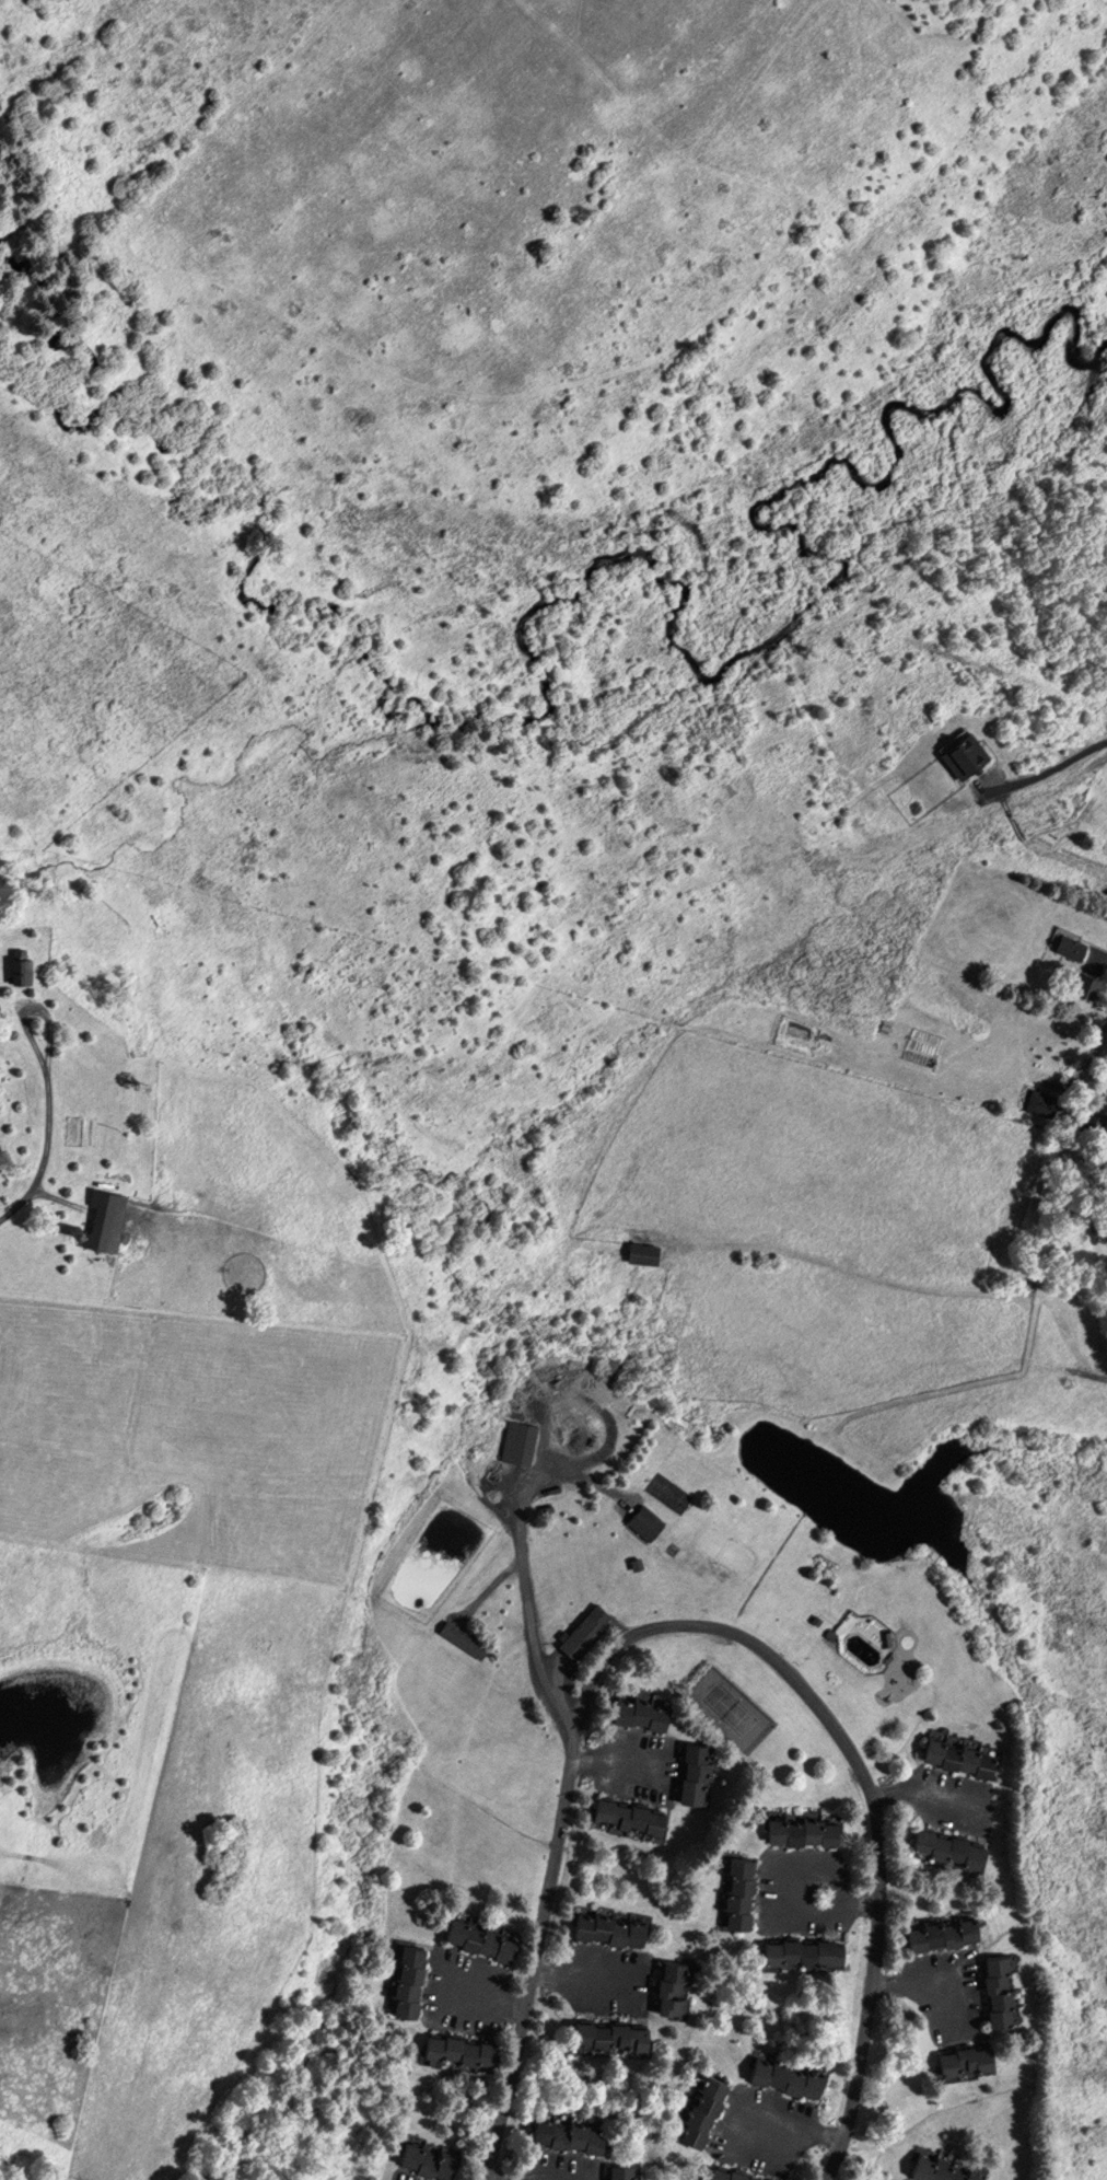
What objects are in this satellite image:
building: (1102, 880)
building: (18, 966)
building: (1081, 986)
road: (1084, 1062)
building: (1039, 1103)
road: (47, 1135)
building: (103, 1222)
building: (639, 1253)
road: (597, 1407)
building: (516, 1443)
building: (642, 1522)
road: (492, 1591)
road: (528, 1605)
road: (701, 1627)
building: (582, 1631)
building: (461, 1639)
building: (636, 1711)
building: (953, 1754)
road: (614, 1770)
building: (694, 1774)
road: (924, 1802)
building: (624, 1816)
building: (797, 1831)
building: (943, 1848)
building: (733, 1892)
road: (860, 1903)
building: (606, 1928)
building: (936, 1934)
building: (474, 1939)
building: (799, 1952)
road: (580, 1980)
building: (404, 1981)
road: (917, 1988)
building: (999, 1988)
building: (671, 1990)
road: (481, 1998)
building: (606, 2038)
building: (454, 2053)
building: (959, 2062)
building: (780, 2077)
building: (698, 2112)
road: (788, 2127)
building: (561, 2134)
building: (426, 2159)
building: (933, 2170)
building: (617, 2172)
building: (723, 2175)

